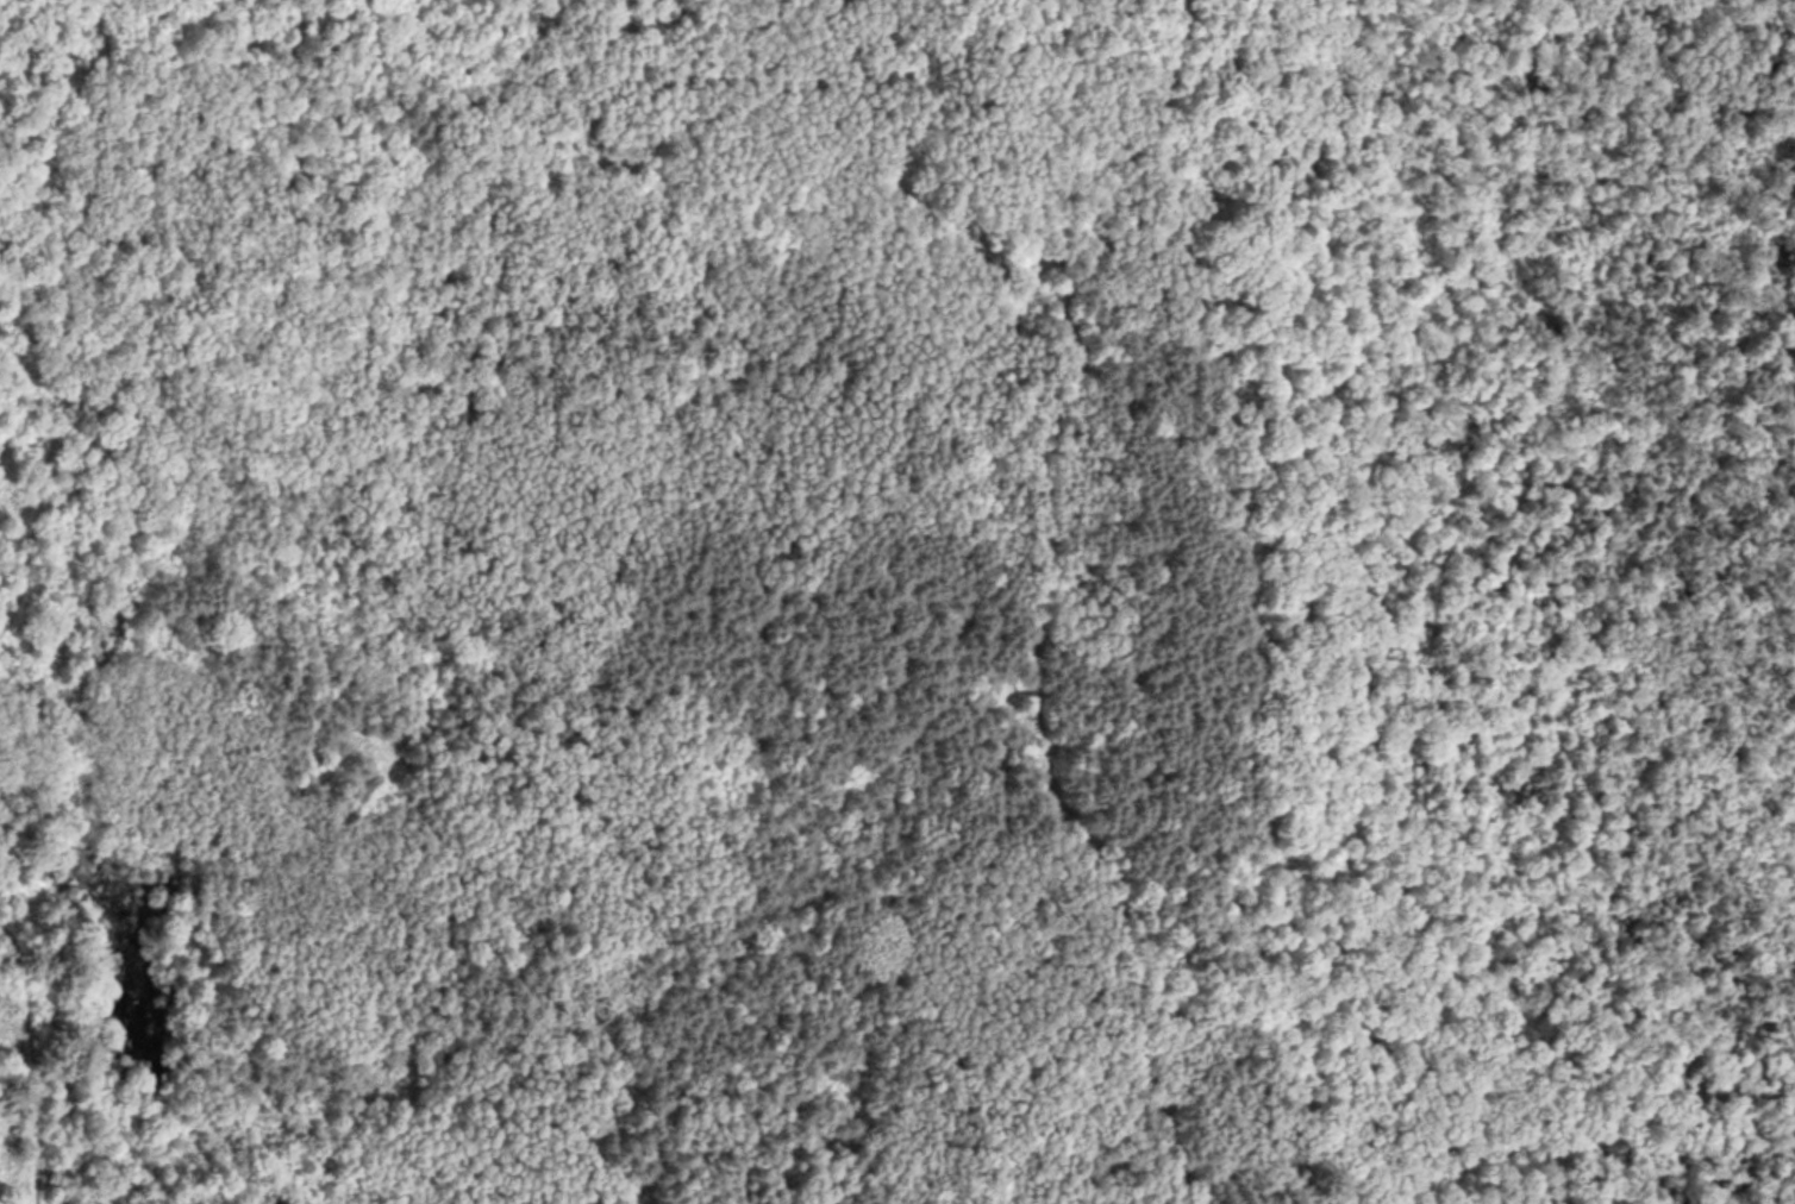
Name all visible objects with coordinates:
road: (1022, 734)

